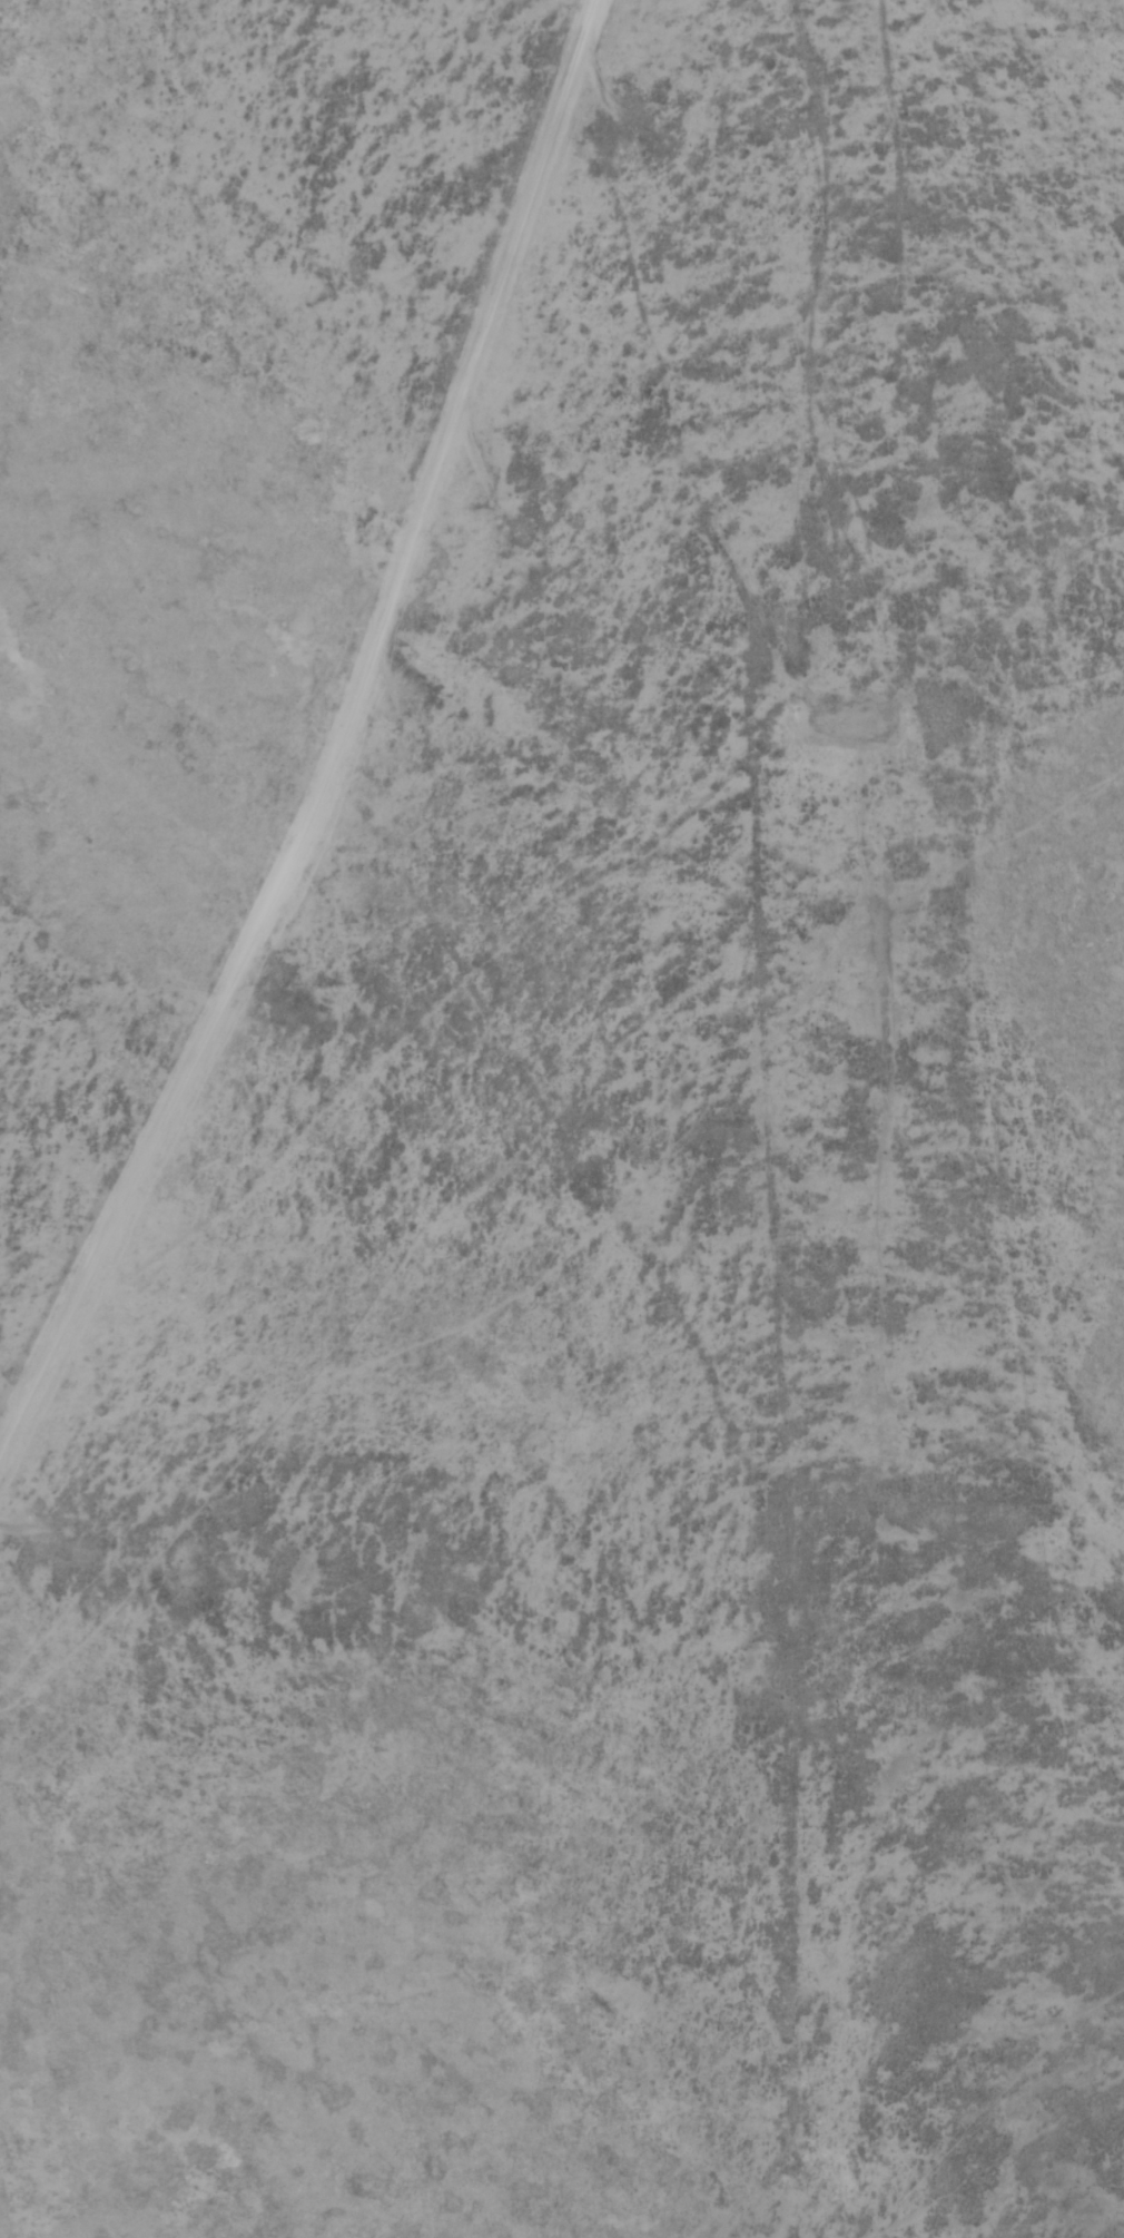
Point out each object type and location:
road: (369, 823)

